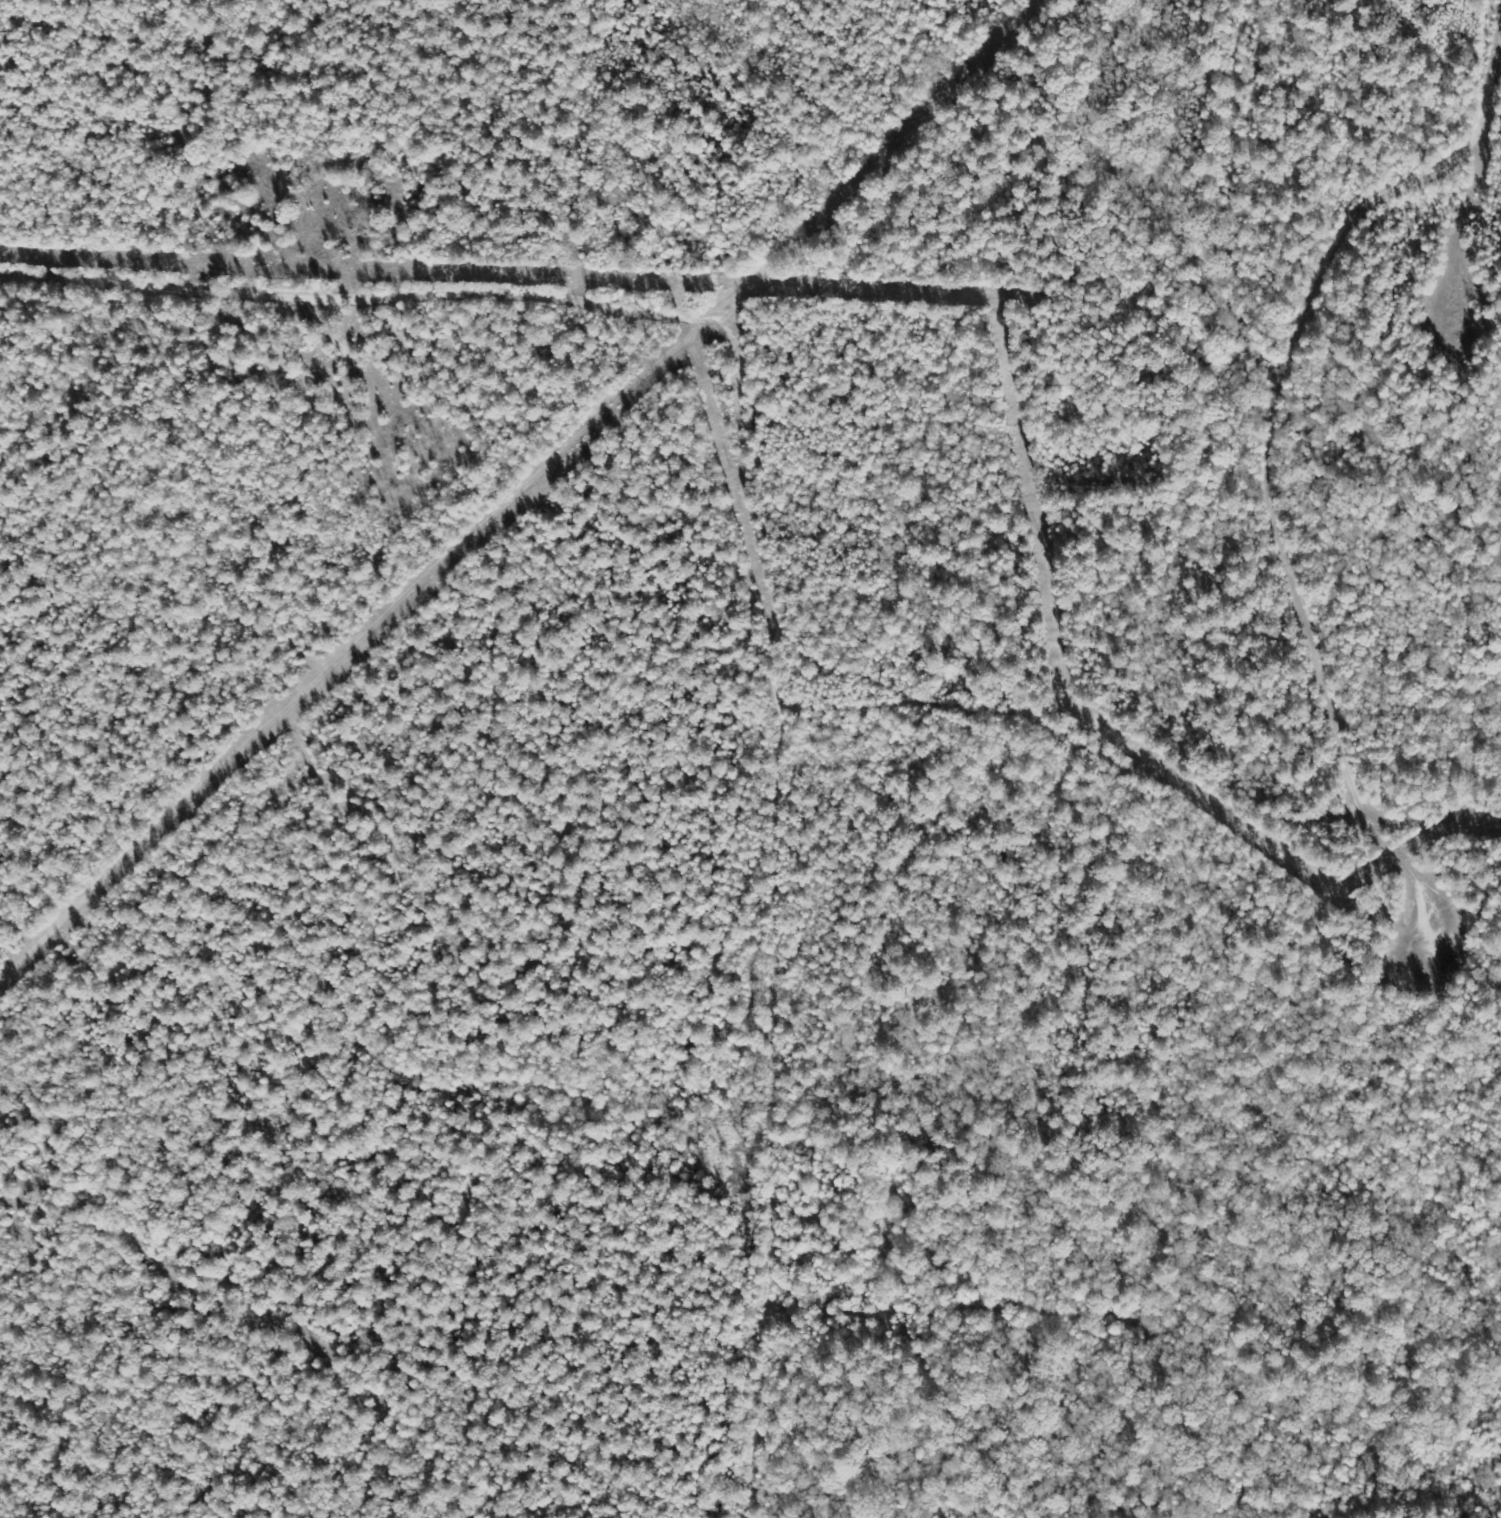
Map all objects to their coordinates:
road: (346, 285)

